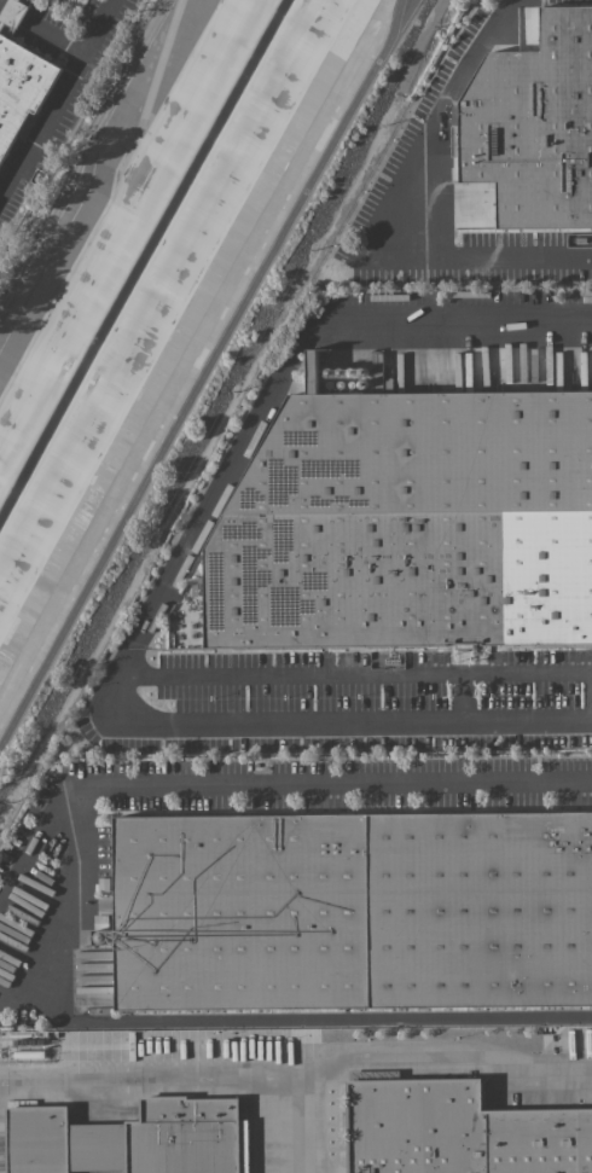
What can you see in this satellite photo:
road: (407, 16)
road: (45, 23)
building: (21, 91)
road: (57, 101)
building: (534, 124)
road: (87, 161)
road: (440, 192)
river: (144, 263)
road: (283, 372)
road: (207, 381)
building: (410, 522)
building: (186, 626)
road: (120, 670)
road: (591, 720)
building: (353, 910)
road: (50, 925)
road: (436, 1059)
building: (362, 1074)
road: (187, 1080)
building: (459, 1131)
building: (132, 1138)

